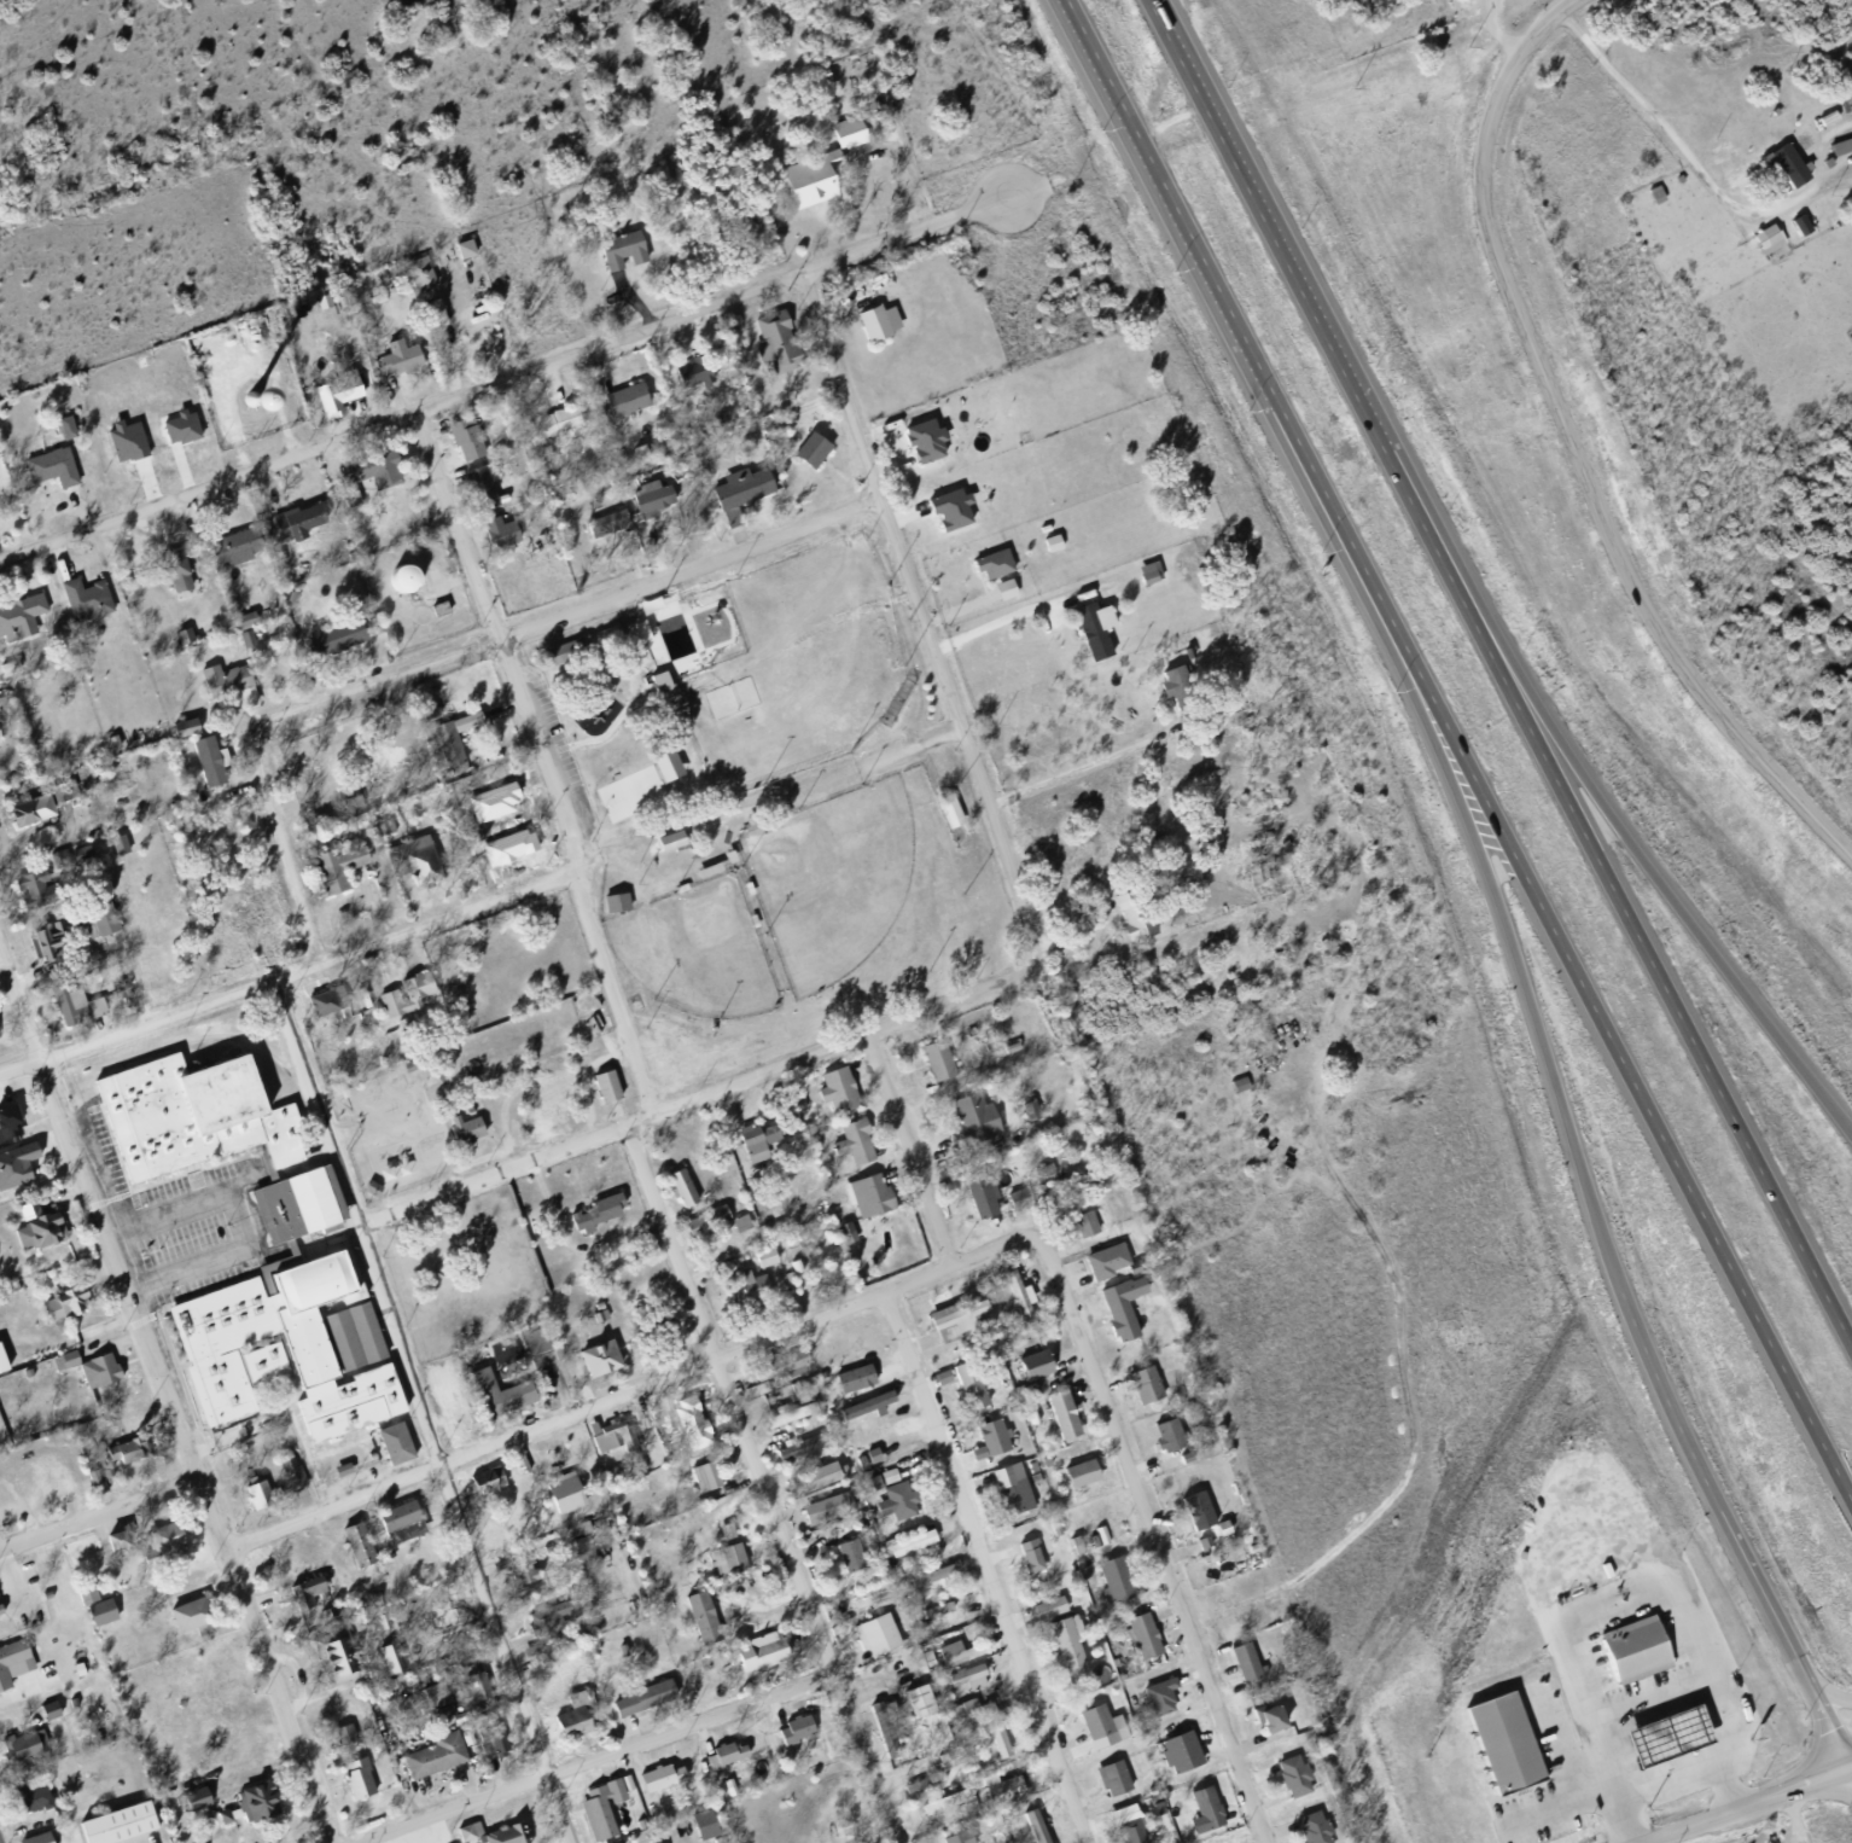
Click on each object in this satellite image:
building: (817, 81)
road: (1650, 115)
building: (841, 139)
building: (1840, 144)
building: (1786, 163)
road: (912, 173)
building: (810, 187)
building: (1801, 223)
building: (1769, 237)
building: (471, 246)
building: (617, 256)
building: (426, 277)
building: (418, 292)
road: (1225, 302)
building: (371, 307)
building: (442, 309)
road: (1312, 314)
building: (883, 320)
building: (472, 325)
building: (869, 329)
building: (771, 347)
building: (395, 364)
building: (302, 378)
building: (688, 378)
road: (503, 380)
building: (343, 390)
water tower: (247, 403)
building: (330, 403)
building: (622, 406)
building: (71, 424)
building: (186, 425)
building: (551, 431)
building: (62, 432)
building: (470, 436)
building: (132, 438)
building: (462, 446)
building: (920, 446)
building: (816, 447)
road: (1571, 449)
building: (806, 457)
building: (635, 458)
building: (47, 472)
building: (367, 477)
building: (479, 492)
building: (738, 494)
building: (641, 501)
building: (947, 513)
building: (611, 521)
building: (293, 528)
building: (499, 536)
building: (1059, 540)
building: (541, 548)
building: (228, 553)
building: (989, 568)
building: (181, 574)
building: (1145, 576)
building: (165, 580)
water tower: (398, 586)
building: (1011, 587)
building: (82, 606)
building: (444, 606)
road: (571, 614)
road: (921, 615)
building: (250, 617)
road: (1000, 617)
building: (17, 622)
building: (239, 626)
building: (1090, 633)
building: (613, 634)
building: (179, 641)
road: (501, 641)
building: (602, 641)
building: (327, 644)
building: (575, 645)
building: (1188, 655)
park: (776, 668)
building: (666, 679)
building: (221, 686)
building: (1175, 691)
building: (439, 710)
building: (192, 723)
building: (1, 731)
building: (109, 749)
building: (449, 752)
building: (215, 758)
building: (490, 762)
building: (672, 763)
road: (1084, 763)
building: (204, 769)
park: (769, 804)
building: (947, 816)
building: (21, 820)
building: (123, 842)
road: (275, 844)
building: (668, 845)
building: (112, 851)
building: (488, 853)
building: (66, 866)
building: (409, 867)
building: (331, 874)
park: (814, 878)
road: (1662, 882)
building: (24, 894)
building: (619, 901)
building: (110, 919)
building: (1131, 920)
building: (48, 950)
park: (691, 953)
road: (286, 973)
road: (1665, 987)
road: (612, 992)
building: (332, 999)
building: (402, 1001)
building: (320, 1008)
building: (75, 1011)
building: (406, 1024)
building: (0, 1036)
building: (1007, 1051)
road: (1618, 1052)
building: (942, 1058)
building: (933, 1068)
building: (611, 1085)
building: (601, 1092)
road: (699, 1095)
building: (832, 1095)
building: (793, 1107)
building: (532, 1111)
building: (1024, 1112)
building: (187, 1123)
building: (968, 1124)
building: (471, 1126)
building: (6, 1130)
building: (460, 1135)
building: (755, 1146)
road: (909, 1147)
building: (851, 1149)
building: (13, 1169)
building: (377, 1186)
building: (687, 1186)
building: (677, 1193)
building: (988, 1194)
building: (1032, 1194)
road: (1586, 1197)
building: (862, 1200)
building: (978, 1203)
building: (298, 1207)
building: (594, 1216)
road: (246, 1217)
building: (848, 1226)
building: (701, 1228)
building: (738, 1228)
building: (1081, 1229)
building: (31, 1234)
building: (843, 1239)
building: (769, 1255)
building: (761, 1263)
building: (798, 1264)
building: (1103, 1267)
building: (792, 1273)
building: (1024, 1293)
building: (745, 1296)
building: (1015, 1302)
building: (1117, 1310)
building: (59, 1313)
building: (594, 1313)
building: (949, 1325)
building: (350, 1343)
building: (274, 1356)
building: (5, 1357)
building: (69, 1359)
building: (1041, 1362)
building: (595, 1366)
building: (1030, 1371)
building: (776, 1372)
building: (94, 1376)
building: (861, 1376)
building: (23, 1379)
building: (974, 1382)
building: (849, 1384)
building: (1141, 1390)
road: (624, 1393)
building: (965, 1393)
road: (168, 1397)
building: (873, 1402)
building: (478, 1407)
road: (421, 1411)
building: (685, 1414)
building: (785, 1419)
building: (1058, 1420)
building: (1027, 1424)
building: (869, 1426)
building: (1173, 1432)
building: (608, 1441)
building: (988, 1442)
building: (1165, 1442)
building: (147, 1443)
building: (391, 1448)
building: (794, 1452)
building: (878, 1453)
road: (171, 1459)
building: (868, 1460)
building: (122, 1464)
building: (340, 1464)
building: (855, 1469)
building: (296, 1472)
building: (892, 1473)
building: (1076, 1477)
building: (285, 1478)
building: (491, 1478)
building: (605, 1479)
building: (883, 1481)
building: (1017, 1481)
building: (701, 1483)
road: (762, 1483)
building: (811, 1483)
building: (481, 1488)
building: (1006, 1494)
building: (559, 1499)
building: (252, 1500)
building: (893, 1504)
building: (1205, 1508)
road: (99, 1513)
building: (823, 1513)
building: (1193, 1516)
building: (392, 1522)
building: (1228, 1525)
building: (580, 1528)
building: (730, 1529)
road: (1151, 1531)
building: (123, 1539)
building: (914, 1540)
building: (1081, 1542)
building: (362, 1543)
building: (1210, 1543)
building: (159, 1548)
building: (113, 1550)
building: (584, 1550)
building: (907, 1550)
building: (1200, 1550)
building: (1071, 1551)
building: (571, 1552)
building: (1036, 1554)
building: (1024, 1558)
building: (849, 1560)
building: (726, 1564)
building: (525, 1566)
road: (986, 1568)
building: (936, 1574)
road: (1678, 1579)
road: (12, 1580)
building: (924, 1582)
building: (1112, 1585)
building: (92, 1594)
building: (302, 1599)
building: (1, 1607)
building: (942, 1607)
building: (106, 1610)
building: (1044, 1614)
building: (933, 1615)
building: (707, 1616)
building: (97, 1617)
building: (192, 1623)
building: (698, 1623)
building: (541, 1629)
building: (445, 1632)
building: (1149, 1634)
building: (1138, 1640)
building: (870, 1641)
building: (962, 1650)
building: (1064, 1651)
building: (348, 1656)
building: (943, 1656)
building: (1629, 1656)
building: (757, 1661)
building: (1252, 1661)
building: (11, 1663)
building: (327, 1664)
building: (388, 1664)
building: (1241, 1669)
building: (973, 1674)
building: (963, 1681)
building: (478, 1685)
road: (1827, 1692)
building: (438, 1693)
building: (471, 1696)
building: (1155, 1700)
building: (639, 1702)
building: (430, 1703)
building: (914, 1707)
building: (56, 1708)
building: (965, 1711)
building: (580, 1713)
building: (45, 1714)
building: (1281, 1717)
building: (1264, 1725)
building: (1091, 1726)
building: (998, 1728)
building: (567, 1729)
building: (346, 1732)
building: (791, 1733)
building: (883, 1733)
building: (991, 1737)
building: (338, 1739)
building: (1661, 1745)
building: (489, 1746)
building: (22, 1750)
building: (1498, 1750)
building: (1175, 1756)
road: (595, 1757)
building: (722, 1758)
building: (432, 1762)
road: (1850, 1769)
building: (1289, 1781)
building: (354, 1783)
building: (656, 1783)
building: (921, 1783)
building: (1108, 1783)
building: (913, 1790)
building: (726, 1791)
building: (1002, 1793)
building: (202, 1796)
road: (1742, 1803)
building: (190, 1804)
building: (254, 1807)
building: (1211, 1808)
building: (940, 1809)
building: (596, 1813)
building: (1153, 1813)
building: (659, 1814)
building: (1200, 1814)
road: (1795, 1814)
road: (1566, 1818)
road: (1623, 1821)
building: (220, 1822)
building: (709, 1822)
building: (1041, 1825)
building: (1134, 1825)
building: (117, 1829)
building: (700, 1829)
building: (1029, 1829)
building: (474, 1830)
building: (636, 1830)
building: (1310, 1831)
building: (1124, 1833)
building: (465, 1836)
building: (502, 1837)
building: (36, 1841)
building: (961, 1841)

